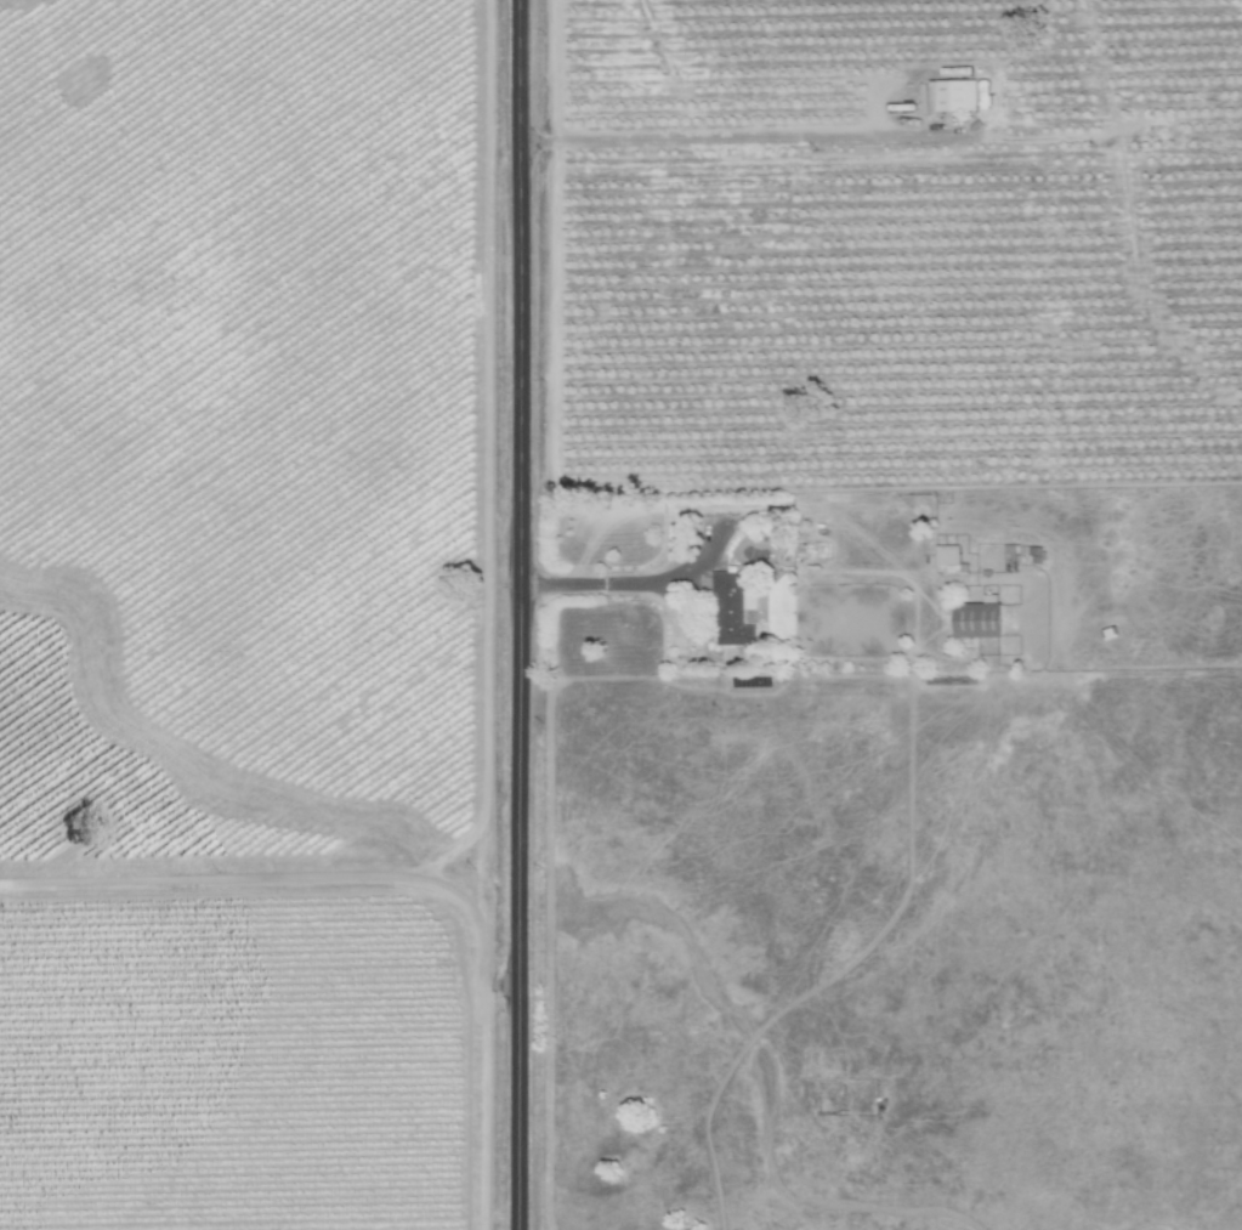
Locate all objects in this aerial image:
road: (735, 130)
building: (949, 557)
road: (612, 580)
building: (737, 611)
road: (524, 614)
building: (981, 620)

